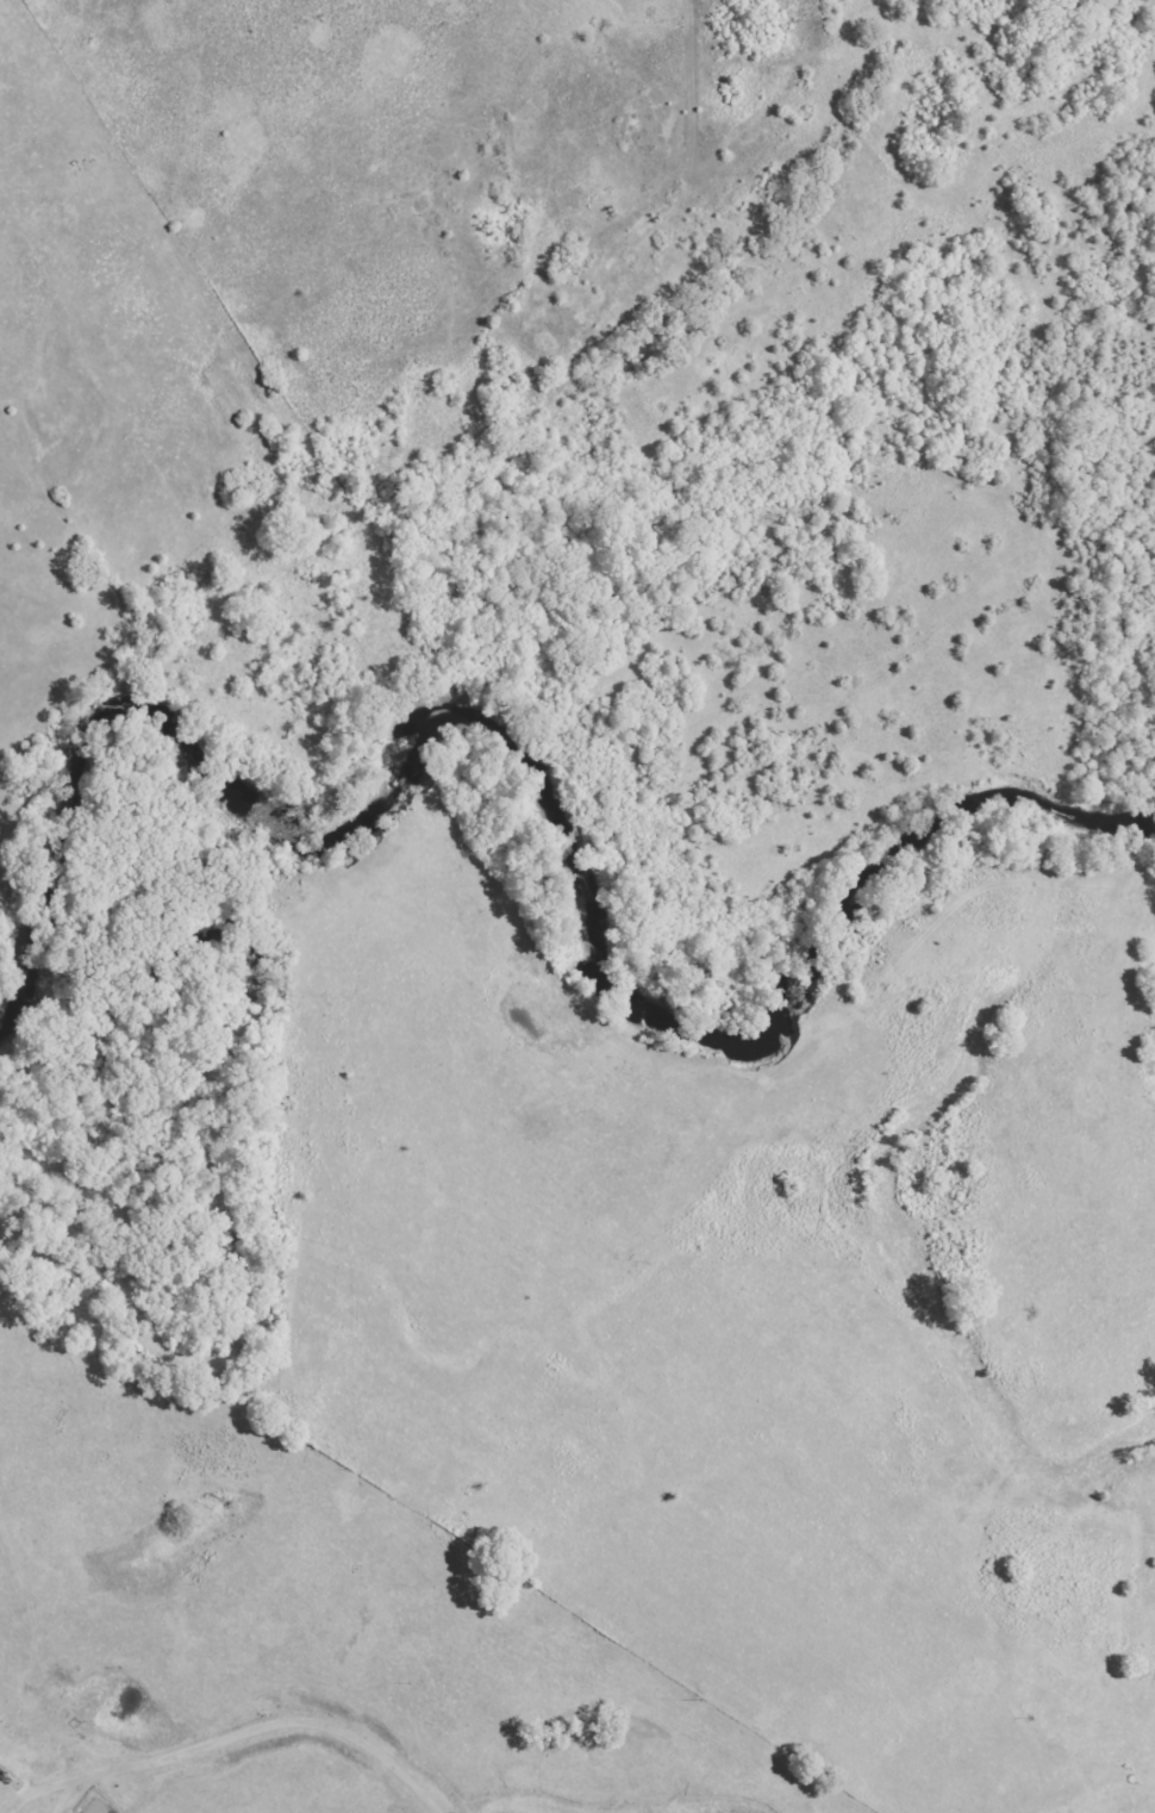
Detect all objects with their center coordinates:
road: (230, 1740)

